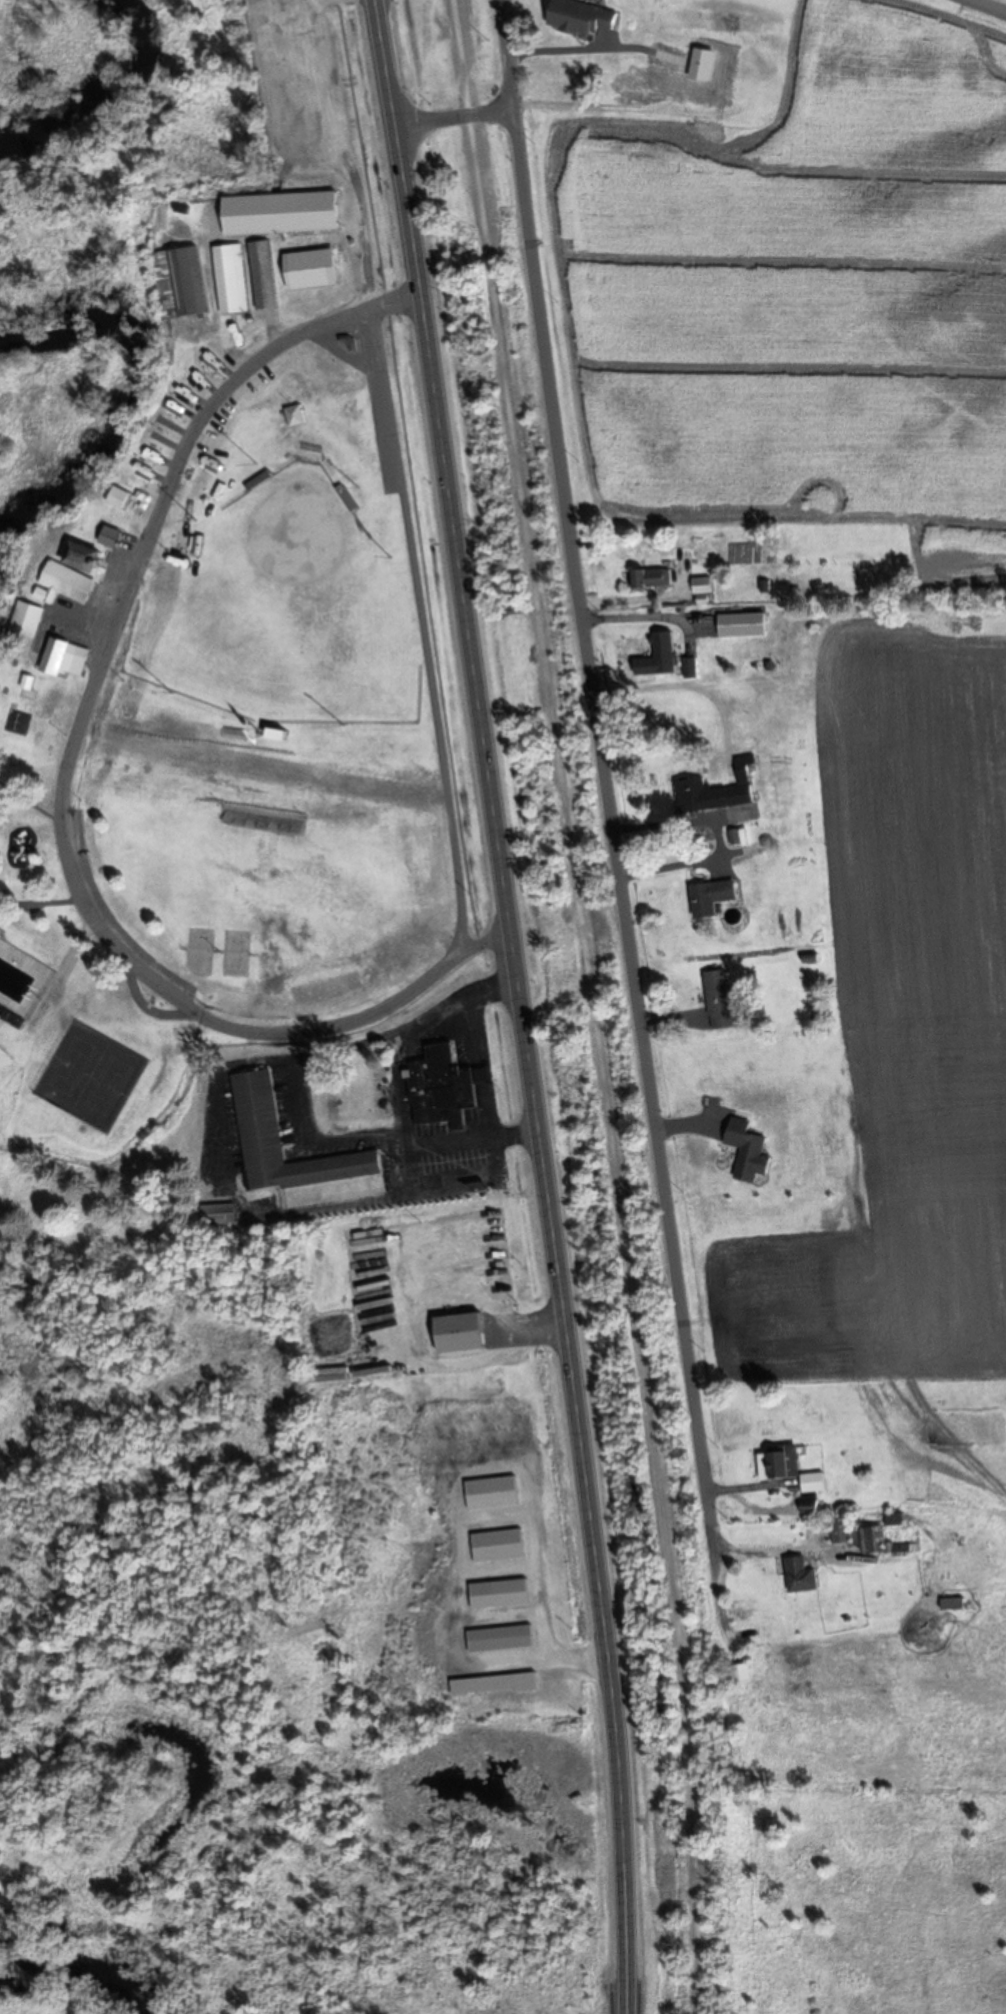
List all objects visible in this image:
road: (985, 7)
building: (581, 18)
road: (508, 53)
building: (713, 72)
road: (681, 75)
building: (649, 82)
river: (105, 97)
road: (455, 118)
building: (235, 208)
building: (314, 213)
building: (264, 275)
building: (232, 279)
building: (180, 282)
river: (138, 400)
building: (296, 415)
building: (119, 498)
building: (347, 498)
building: (110, 536)
building: (83, 556)
building: (653, 577)
building: (68, 582)
building: (703, 585)
building: (743, 624)
building: (25, 625)
road: (450, 626)
building: (665, 651)
building: (65, 657)
building: (23, 705)
park: (285, 714)
park: (274, 723)
building: (276, 732)
road: (63, 785)
building: (716, 791)
road: (611, 823)
building: (711, 897)
building: (719, 999)
road: (520, 1004)
road: (596, 1005)
building: (443, 1087)
building: (258, 1112)
building: (747, 1148)
building: (218, 1215)
building: (779, 1464)
building: (814, 1482)
building: (814, 1507)
building: (895, 1519)
building: (865, 1538)
building: (801, 1576)
building: (954, 1604)
building: (742, 1673)
river: (74, 1981)

